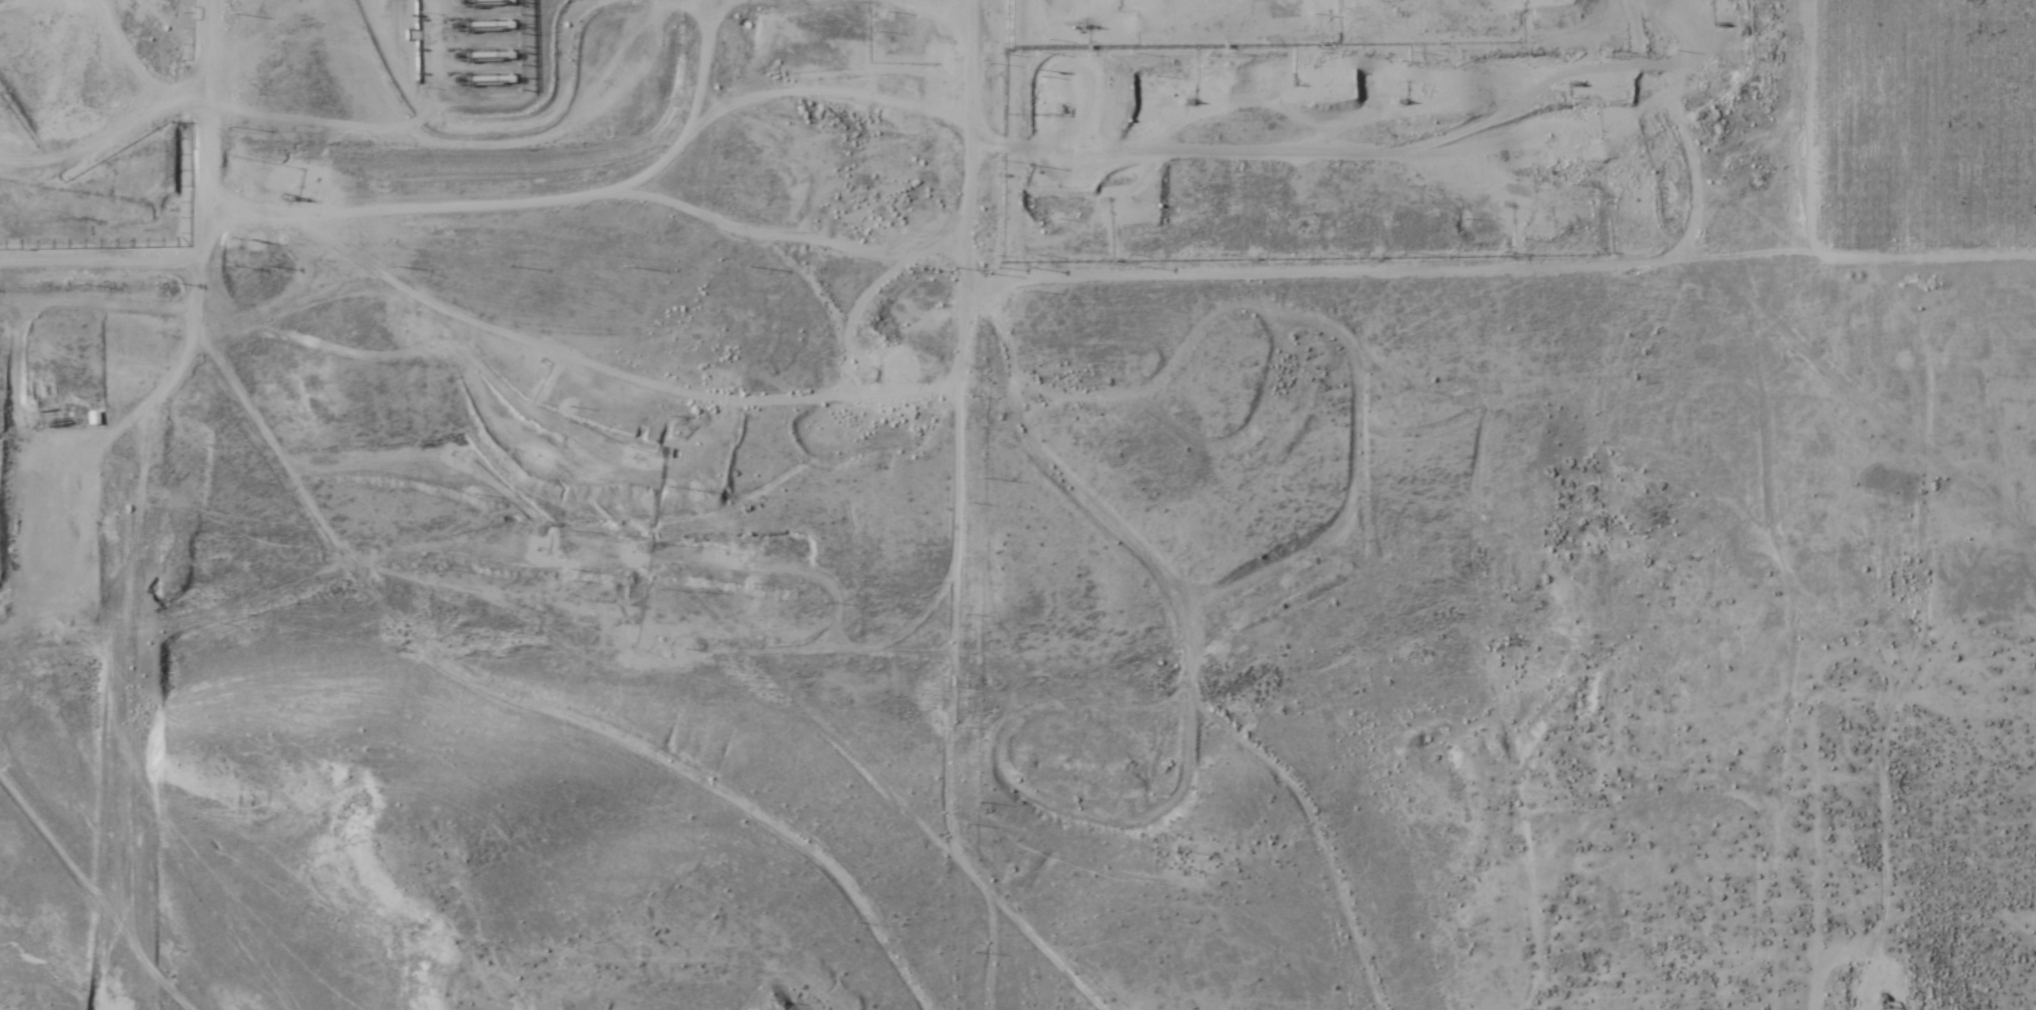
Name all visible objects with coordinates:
road: (963, 186)
building: (90, 418)
road: (597, 502)
road: (951, 613)

